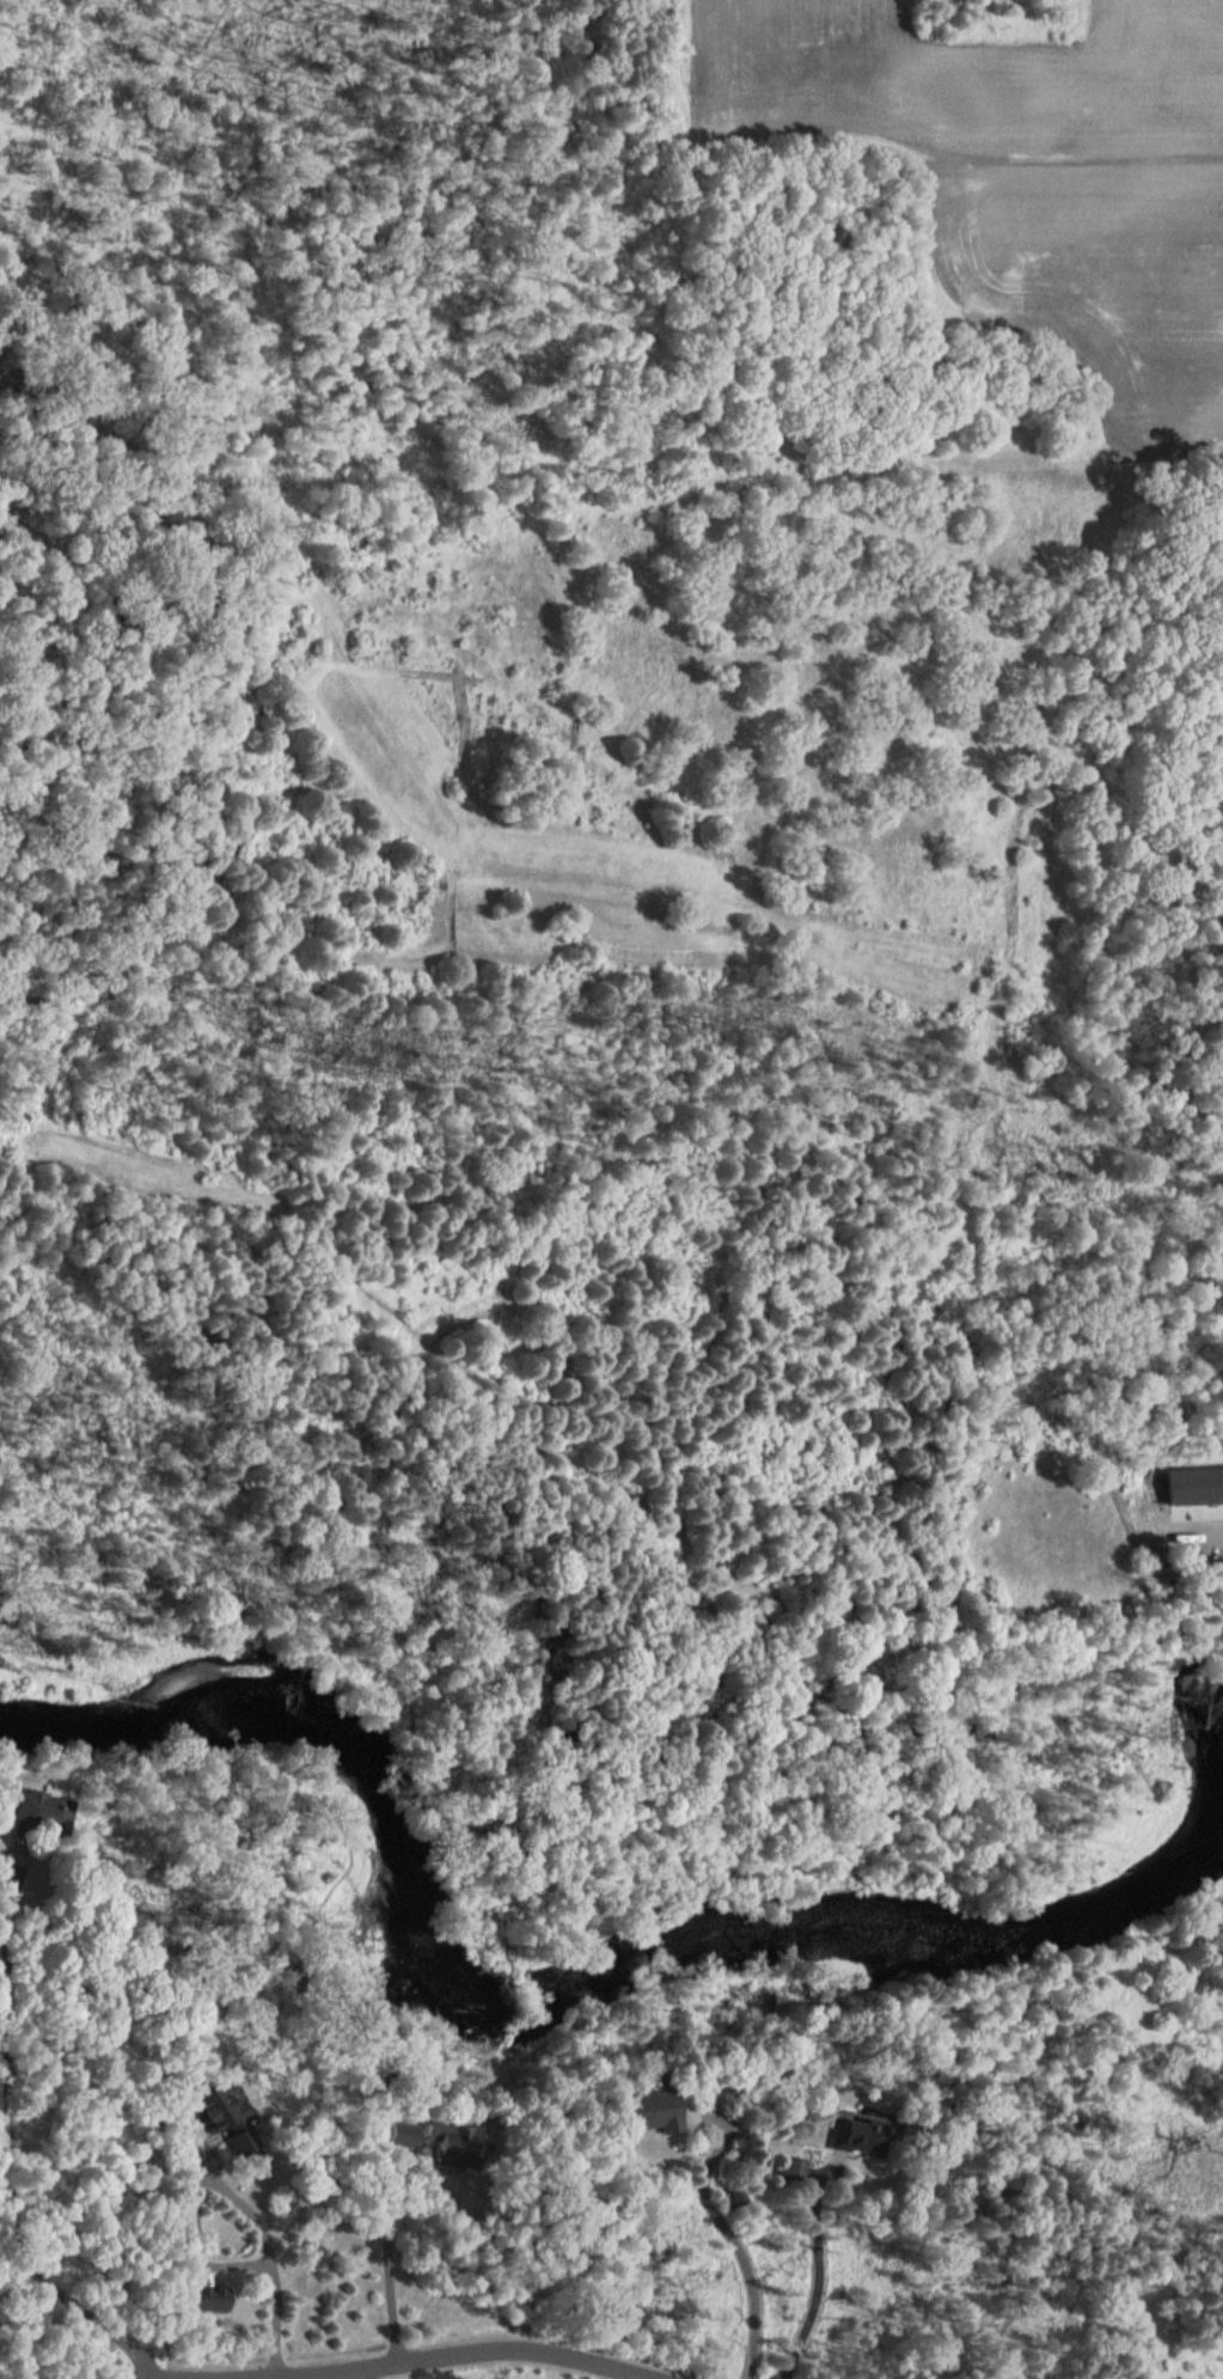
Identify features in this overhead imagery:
building: (56, 1812)
river: (588, 1977)
building: (678, 2109)
building: (243, 2123)
building: (414, 2133)
building: (869, 2134)
building: (471, 2145)
building: (797, 2167)
road: (442, 2354)

